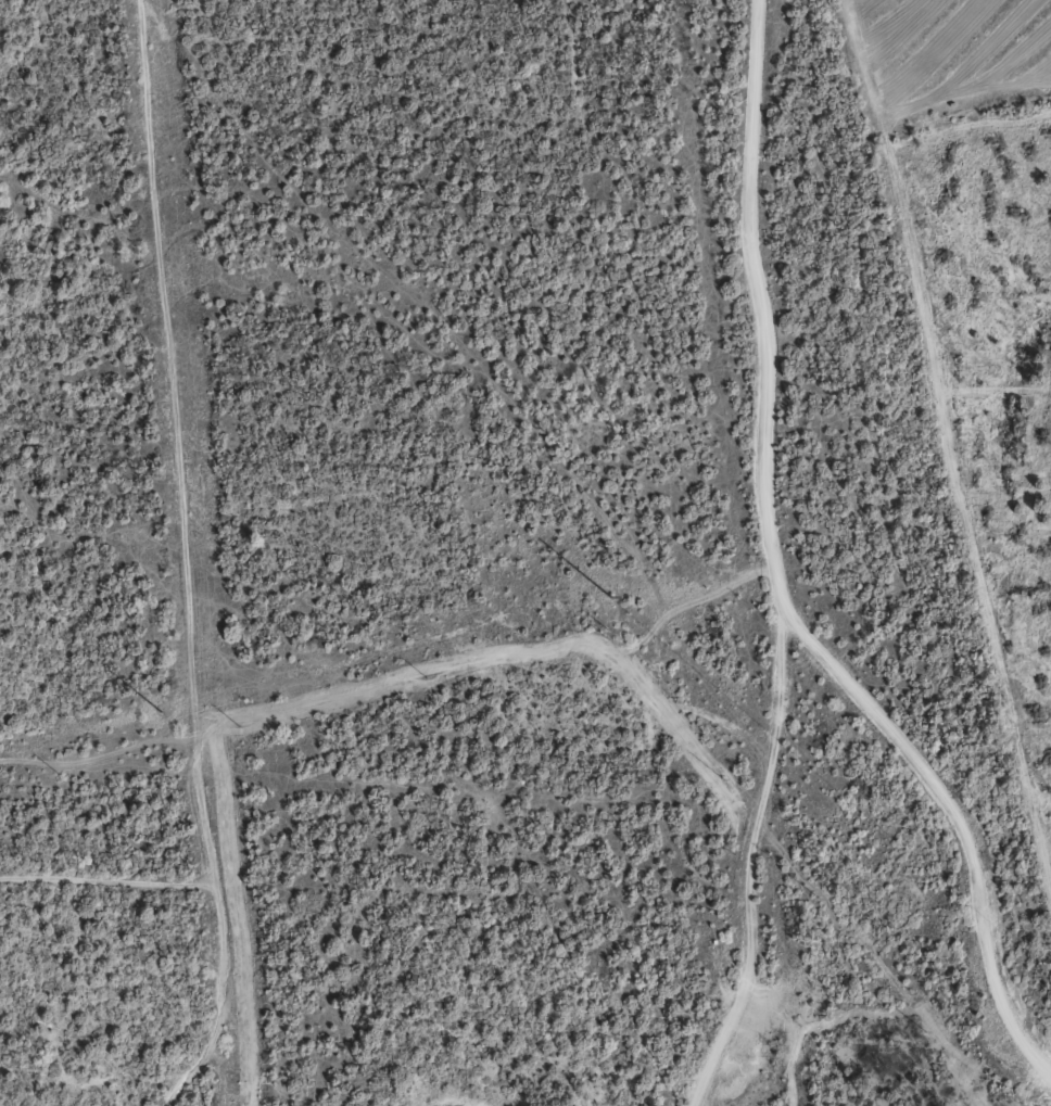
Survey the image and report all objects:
road: (496, 428)
road: (679, 433)
road: (784, 559)
power tower: (606, 596)
power tower: (157, 712)

